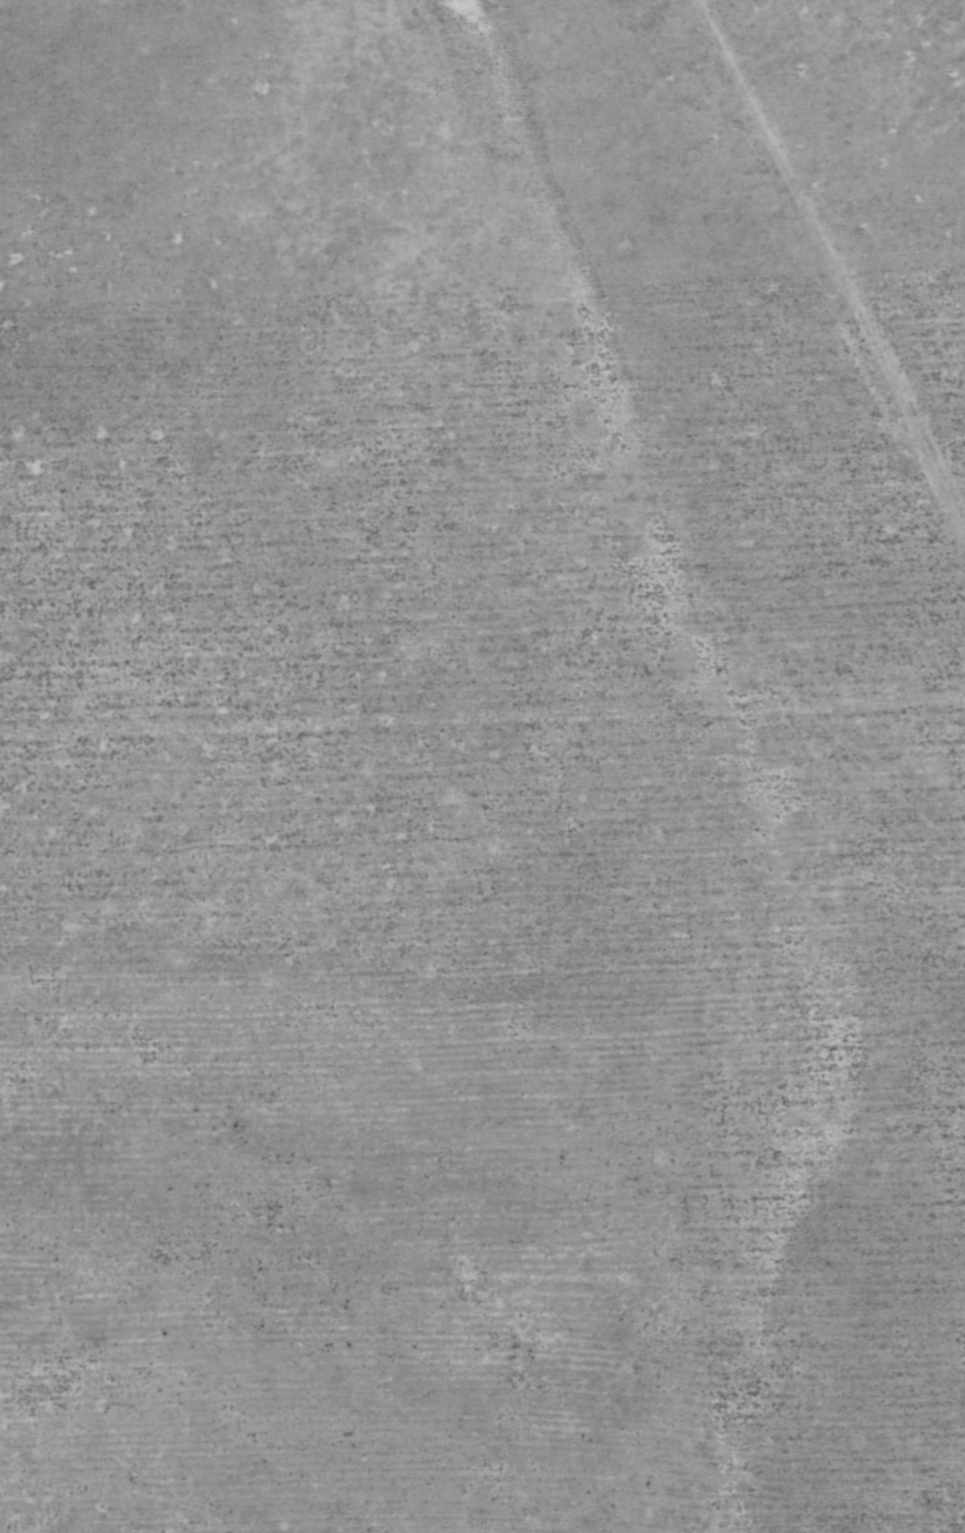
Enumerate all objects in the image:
road: (836, 253)

